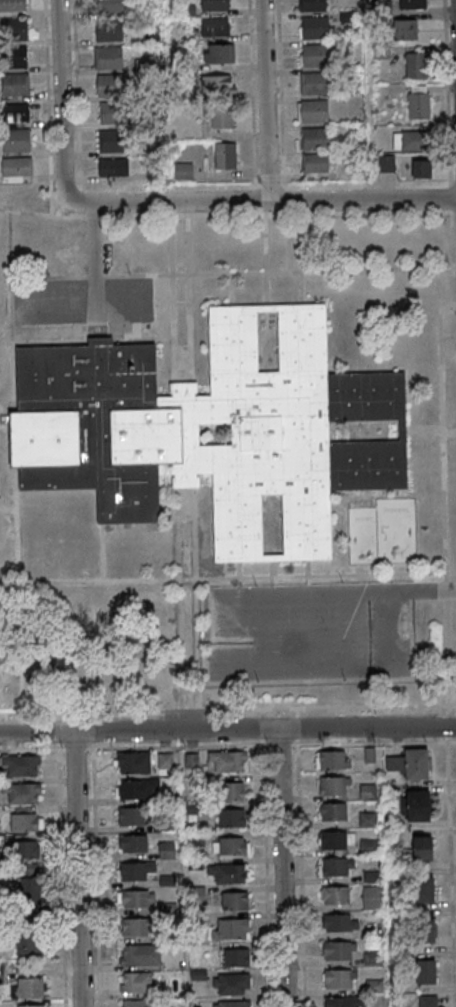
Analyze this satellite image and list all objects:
building: (213, 4)
building: (412, 4)
building: (311, 5)
building: (13, 6)
building: (111, 6)
building: (214, 26)
building: (314, 28)
building: (13, 29)
building: (405, 30)
building: (109, 31)
building: (219, 53)
building: (316, 55)
building: (15, 57)
building: (108, 58)
building: (415, 65)
building: (14, 84)
building: (218, 84)
building: (313, 84)
building: (110, 85)
road: (252, 92)
road: (266, 100)
road: (61, 102)
building: (419, 105)
road: (281, 106)
building: (313, 111)
building: (14, 112)
building: (114, 113)
building: (222, 116)
building: (314, 139)
building: (15, 140)
building: (110, 140)
building: (411, 140)
building: (225, 156)
building: (314, 163)
building: (385, 163)
building: (16, 167)
building: (113, 167)
building: (421, 169)
building: (182, 172)
road: (259, 202)
road: (224, 214)
road: (289, 243)
road: (263, 260)
road: (94, 262)
road: (454, 268)
road: (231, 273)
road: (301, 289)
road: (230, 290)
road: (81, 297)
road: (171, 298)
road: (188, 298)
road: (180, 303)
road: (454, 306)
road: (11, 312)
road: (143, 337)
road: (49, 340)
road: (441, 391)
road: (431, 429)
building: (105, 435)
park: (6, 493)
road: (186, 549)
road: (101, 553)
road: (236, 577)
road: (307, 580)
road: (272, 581)
road: (238, 582)
road: (18, 588)
road: (445, 590)
road: (421, 593)
road: (178, 600)
road: (195, 600)
parking lot: (310, 631)
road: (446, 653)
road: (228, 673)
road: (451, 705)
road: (223, 707)
road: (446, 724)
road: (227, 730)
road: (450, 742)
road: (278, 746)
building: (369, 755)
building: (165, 760)
building: (191, 760)
building: (332, 760)
building: (227, 761)
building: (133, 763)
building: (410, 764)
building: (20, 765)
building: (334, 787)
building: (137, 788)
building: (232, 790)
building: (367, 791)
building: (21, 792)
road: (446, 800)
building: (415, 805)
building: (332, 813)
building: (131, 815)
building: (231, 817)
building: (25, 819)
building: (368, 820)
building: (195, 838)
building: (335, 841)
building: (133, 843)
building: (230, 845)
building: (422, 848)
building: (27, 849)
building: (167, 850)
road: (284, 868)
building: (338, 868)
road: (77, 869)
building: (138, 870)
building: (226, 873)
road: (299, 876)
building: (30, 886)
building: (422, 889)
building: (335, 896)
building: (371, 898)
building: (136, 899)
building: (235, 900)
building: (340, 924)
building: (137, 927)
building: (232, 929)
building: (425, 930)
building: (29, 946)
building: (339, 951)
building: (140, 954)
building: (236, 957)
building: (373, 958)
building: (426, 972)
building: (339, 979)
building: (138, 983)
building: (233, 984)
building: (31, 989)
building: (429, 1001)
building: (345, 1002)
building: (140, 1003)
building: (232, 1003)
building: (32, 1006)

